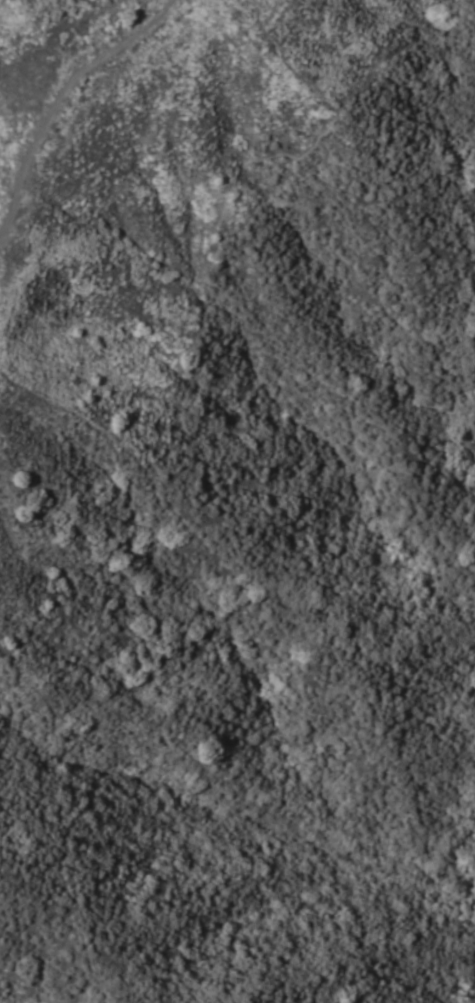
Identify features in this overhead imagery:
road: (57, 100)

